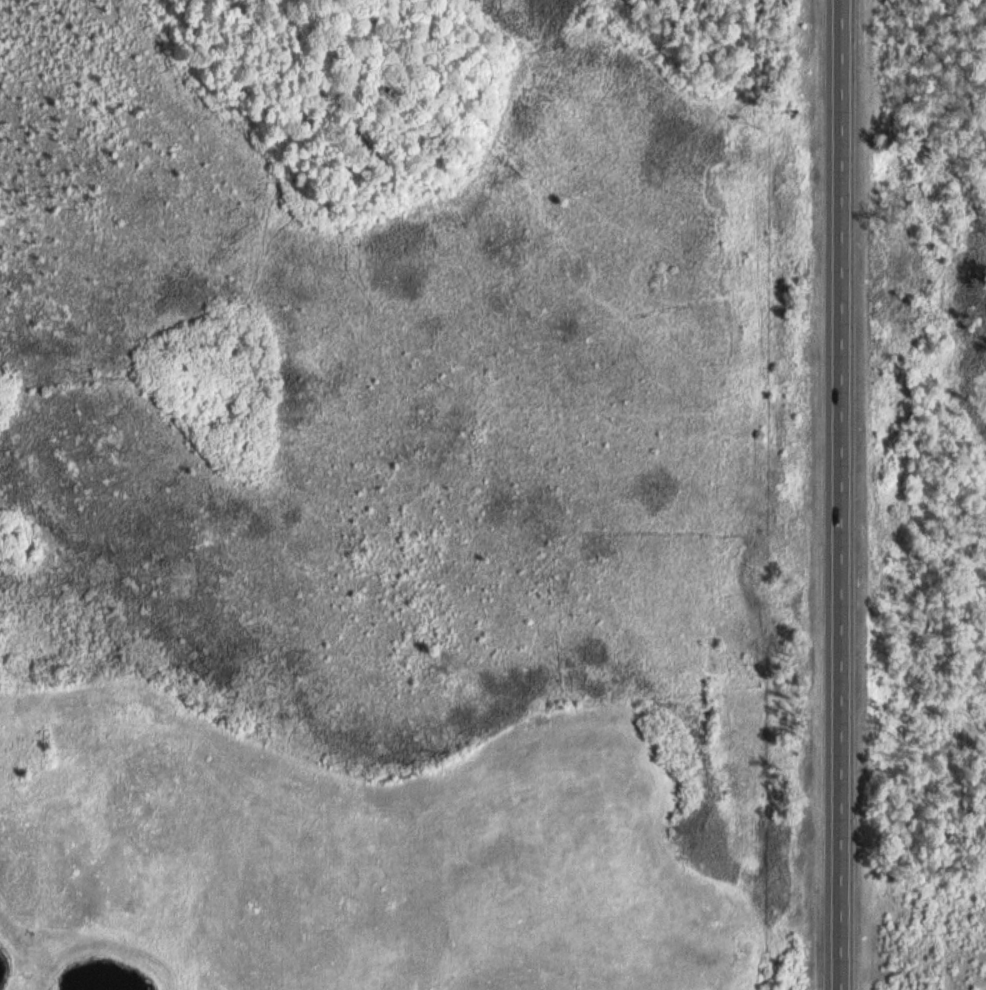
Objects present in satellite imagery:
road: (841, 495)

